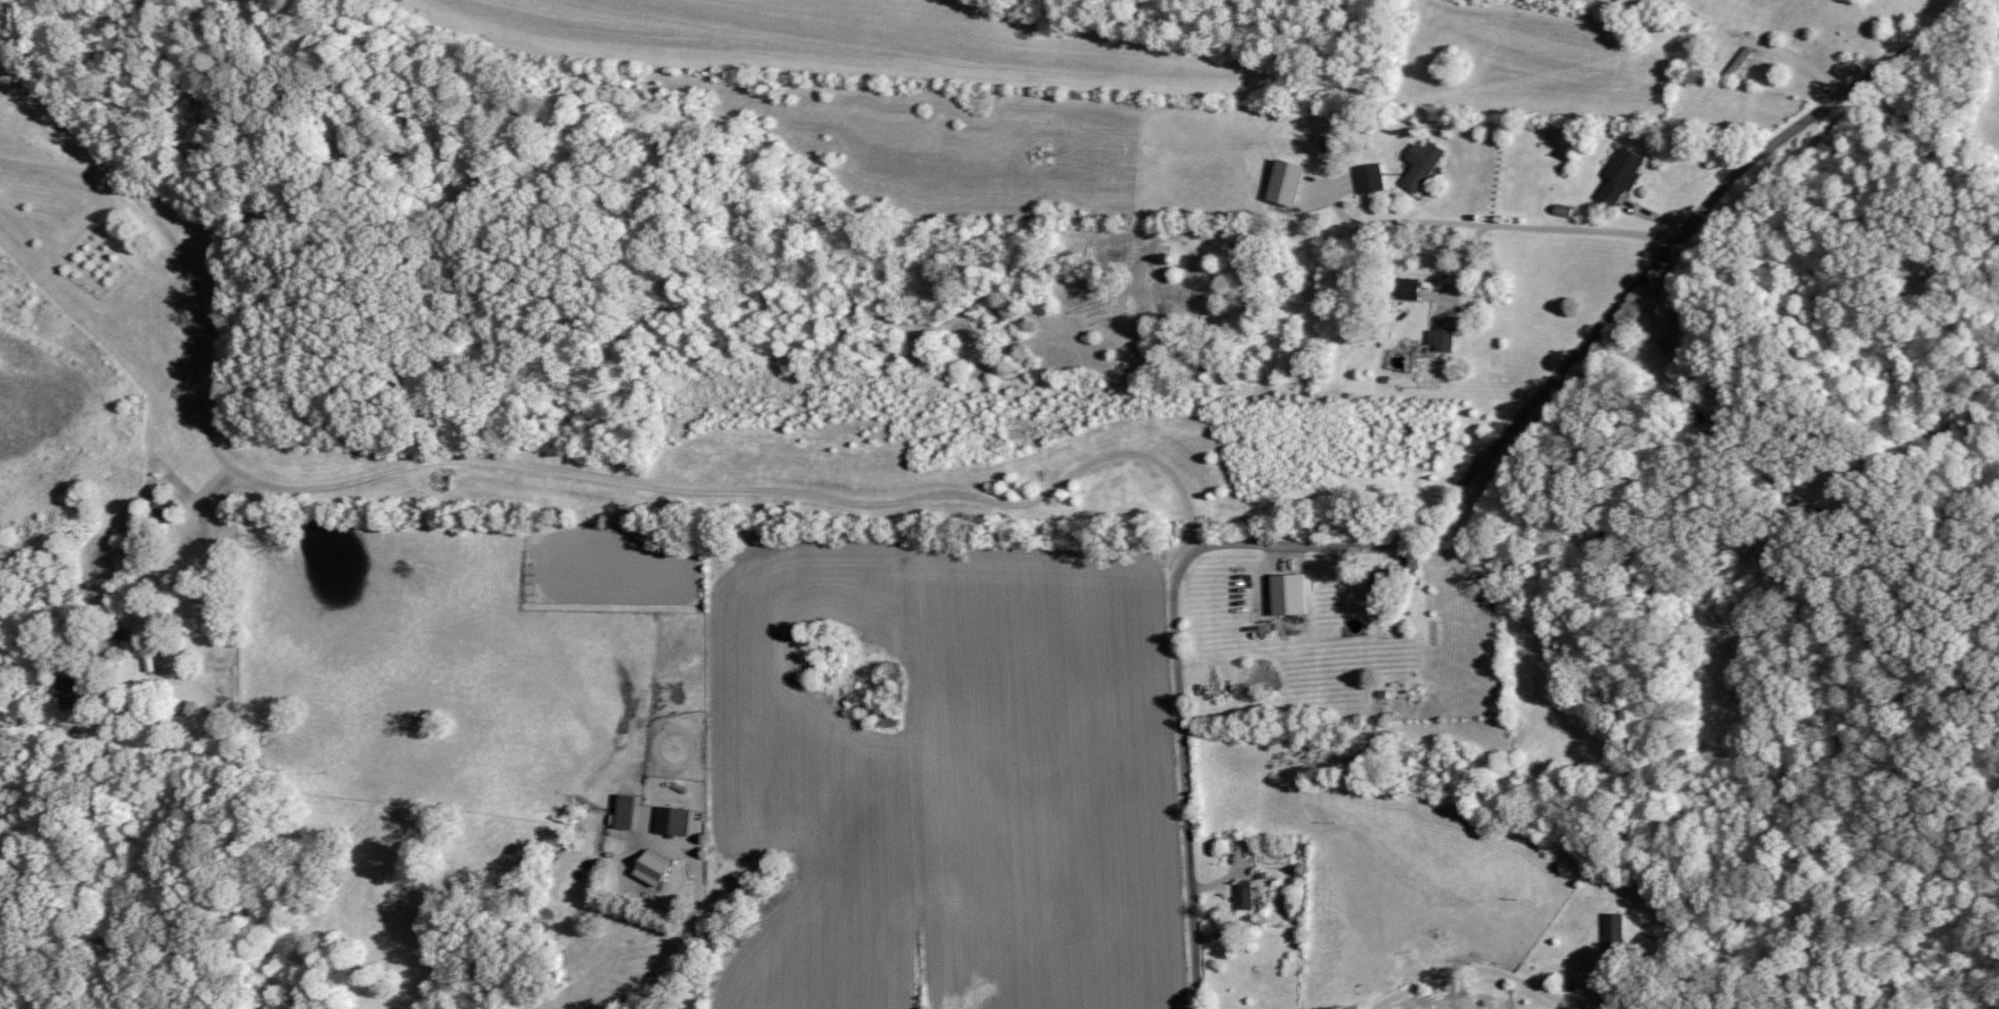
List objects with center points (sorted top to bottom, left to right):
building: (1740, 60)
building: (1421, 164)
building: (1620, 174)
building: (1369, 177)
building: (1285, 181)
road: (1499, 226)
building: (1404, 287)
building: (1173, 302)
building: (1443, 332)
road: (1711, 392)
road: (529, 468)
road: (1444, 503)
building: (1288, 593)
building: (64, 689)
building: (624, 811)
road: (197, 815)
building: (671, 820)
building: (652, 867)
building: (1243, 894)
building: (1614, 928)
road: (693, 953)
road: (1468, 971)
road: (9, 1004)

